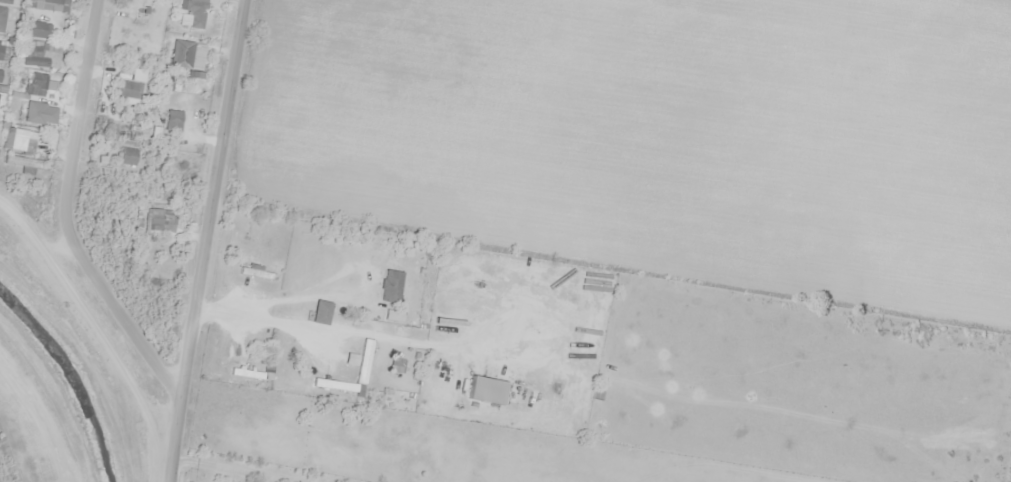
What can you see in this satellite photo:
building: (5, 1)
building: (46, 4)
building: (190, 14)
building: (126, 15)
building: (1, 18)
building: (31, 30)
building: (0, 46)
building: (179, 55)
building: (32, 56)
building: (135, 75)
building: (34, 85)
building: (126, 90)
building: (32, 113)
building: (171, 121)
building: (21, 141)
building: (126, 157)
road: (66, 214)
building: (159, 220)
road: (205, 240)
building: (252, 272)
building: (389, 287)
building: (395, 366)

